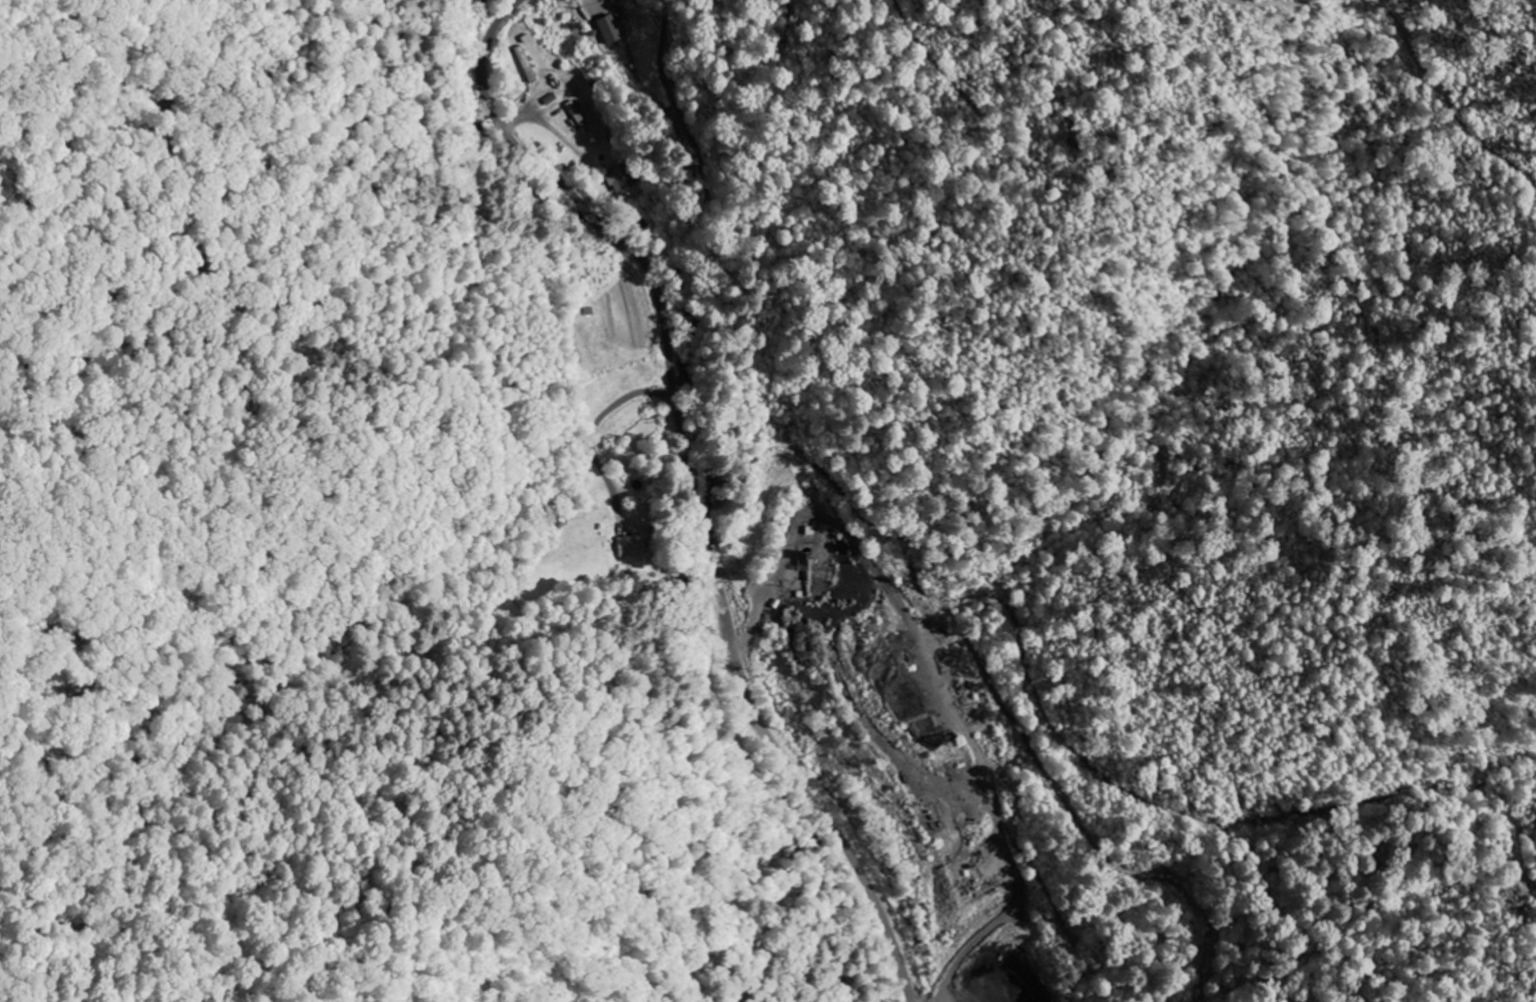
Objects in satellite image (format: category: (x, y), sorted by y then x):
building: (606, 30)
building: (524, 65)
building: (578, 118)
building: (620, 180)
road: (693, 483)
building: (631, 546)

